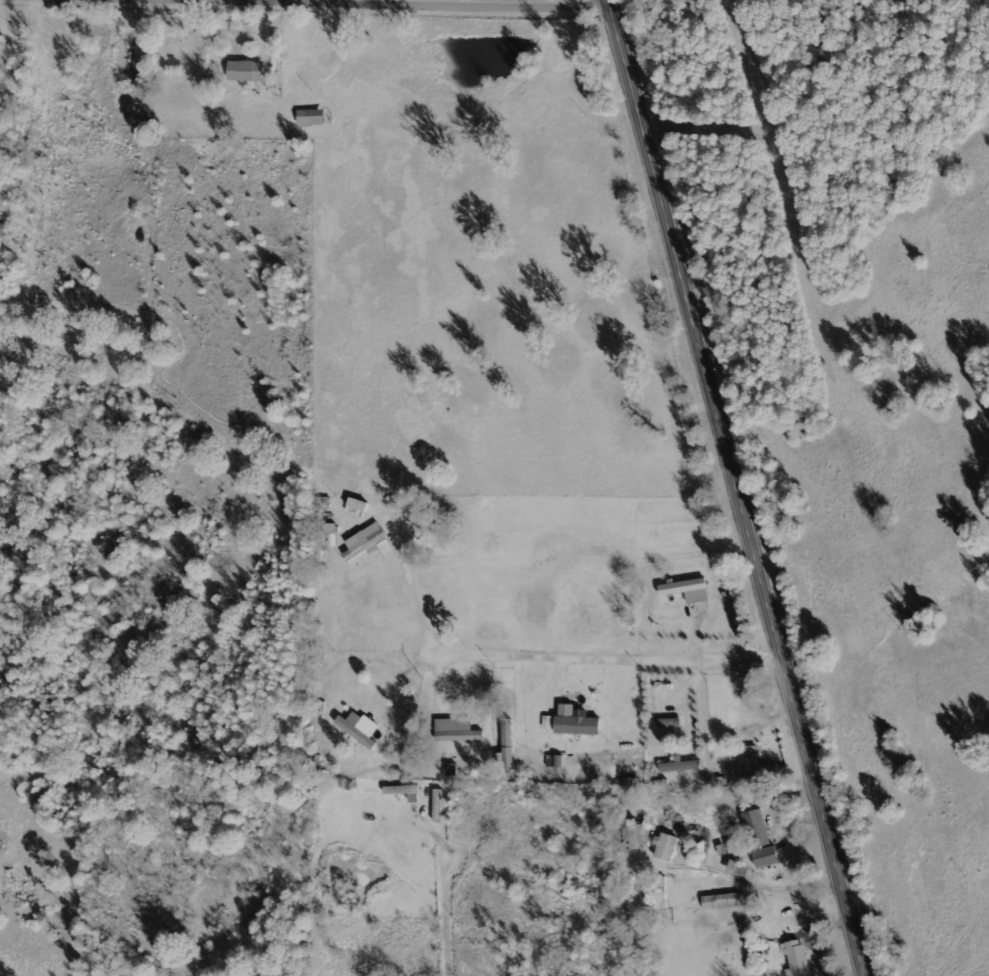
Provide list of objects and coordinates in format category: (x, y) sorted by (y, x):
road: (476, 3)
building: (245, 70)
building: (311, 117)
road: (743, 488)
building: (356, 507)
building: (368, 542)
building: (687, 590)
building: (547, 722)
building: (575, 722)
building: (359, 728)
building: (456, 730)
building: (554, 761)
building: (751, 764)
building: (681, 766)
building: (404, 792)
building: (666, 847)
building: (722, 901)
road: (447, 914)
building: (796, 959)

